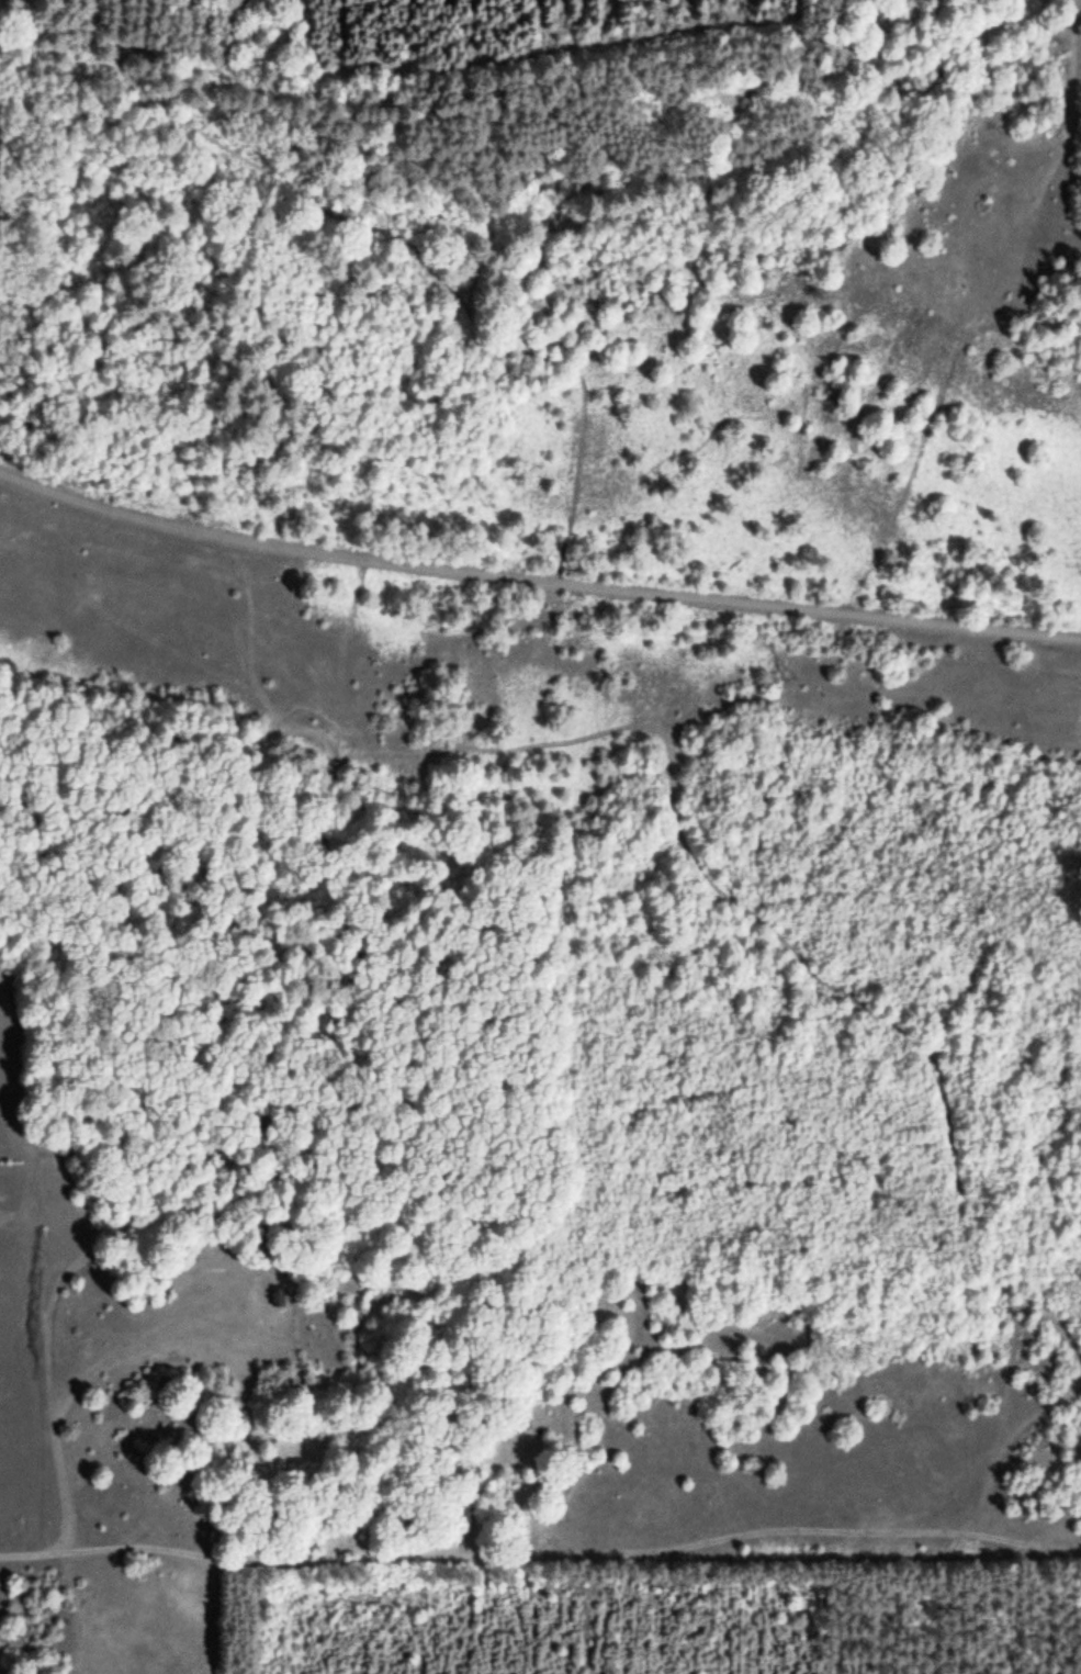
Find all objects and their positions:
road: (387, 236)
road: (534, 578)
road: (541, 1552)

